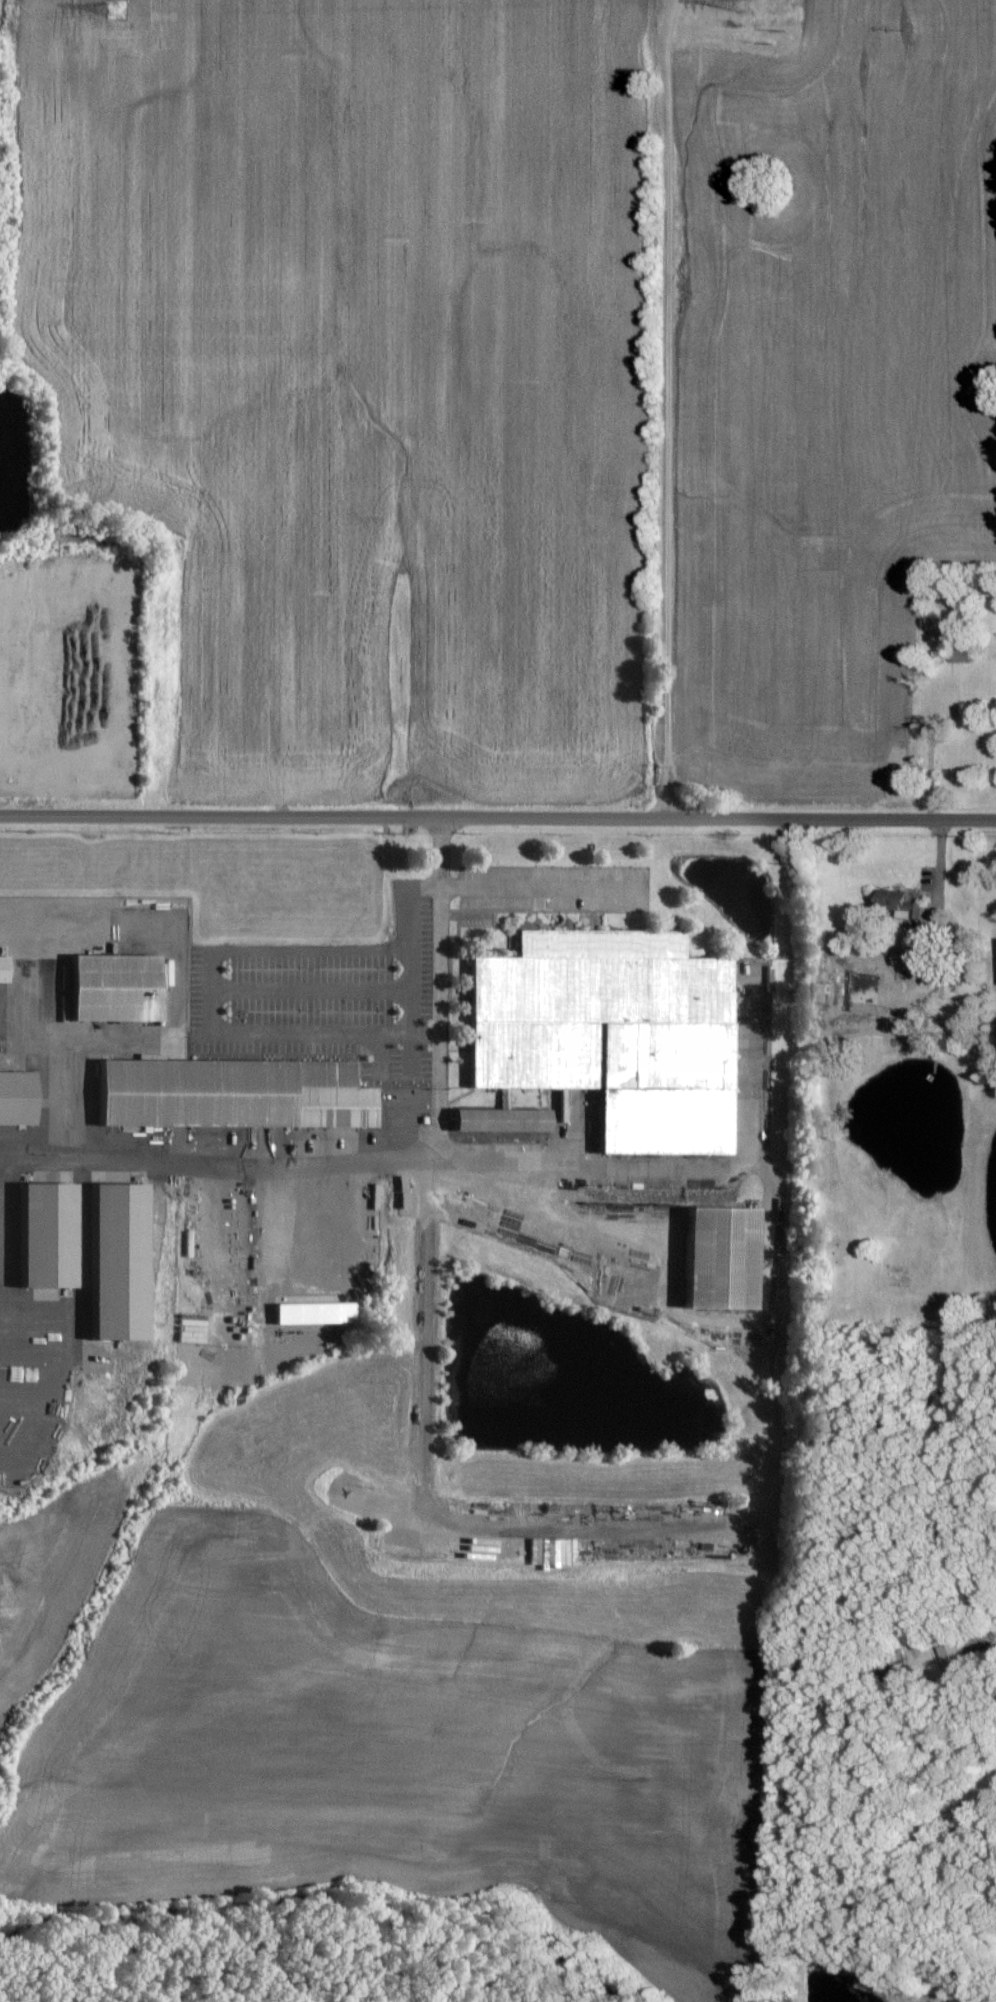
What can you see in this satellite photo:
road: (666, 408)
road: (498, 817)
road: (532, 885)
building: (907, 902)
road: (437, 925)
building: (4, 968)
building: (902, 968)
building: (113, 987)
road: (257, 1030)
road: (421, 1033)
building: (609, 1033)
building: (232, 1094)
building: (16, 1097)
building: (499, 1120)
road: (279, 1166)
road: (579, 1178)
building: (44, 1235)
building: (718, 1258)
building: (116, 1262)
building: (312, 1313)
road: (430, 1384)
building: (561, 1551)

